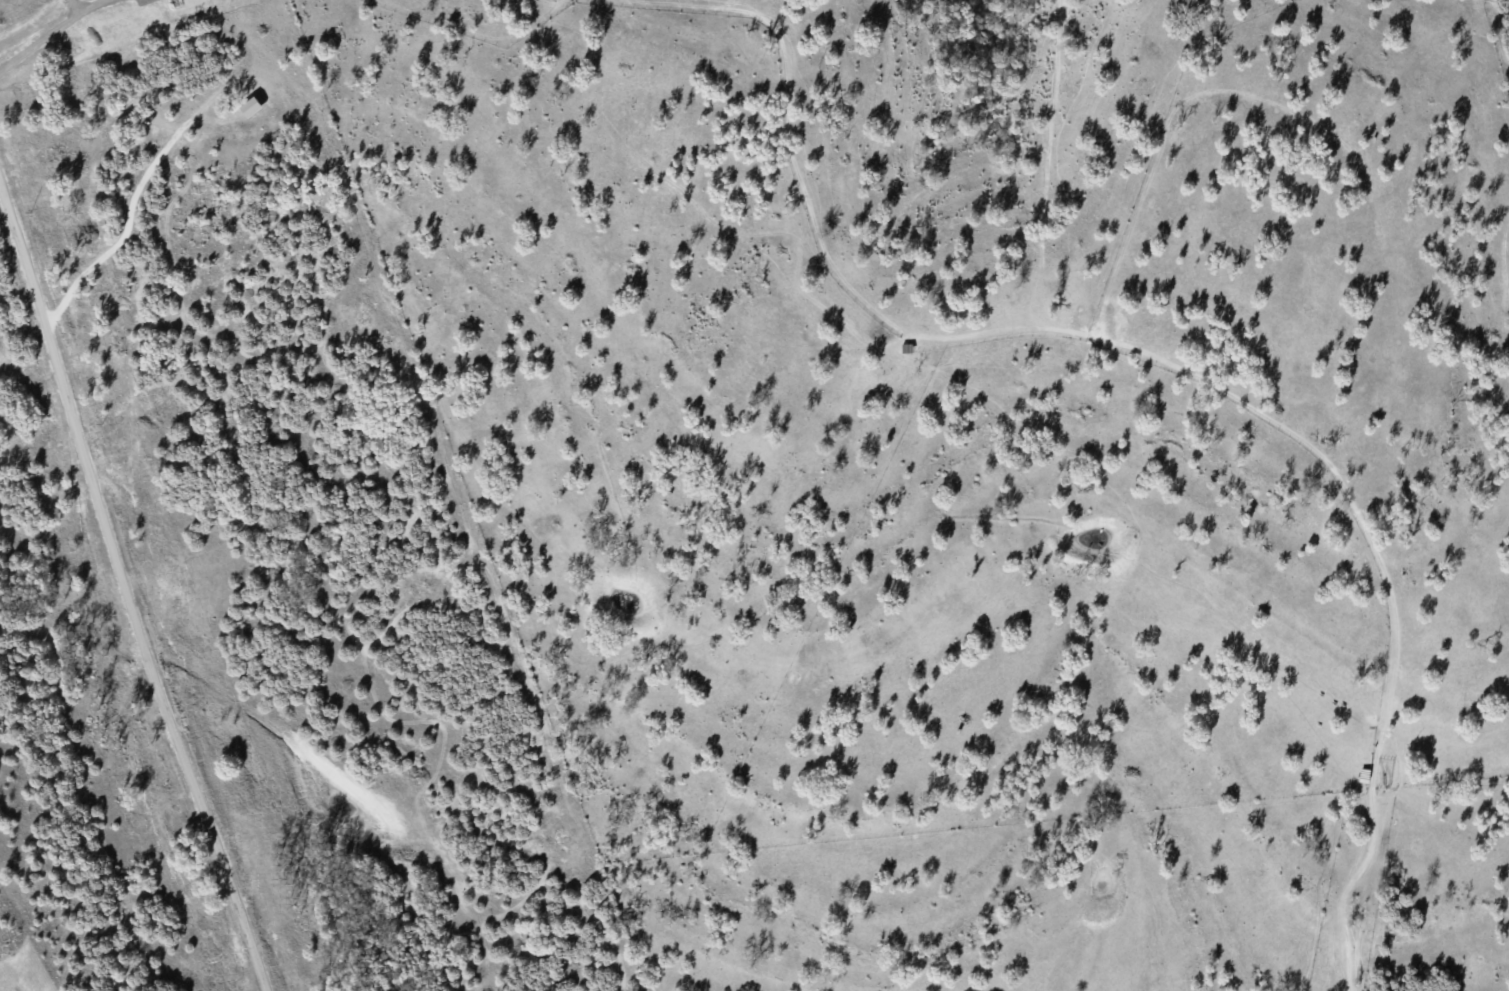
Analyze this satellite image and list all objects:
road: (42, 38)
road: (125, 592)

